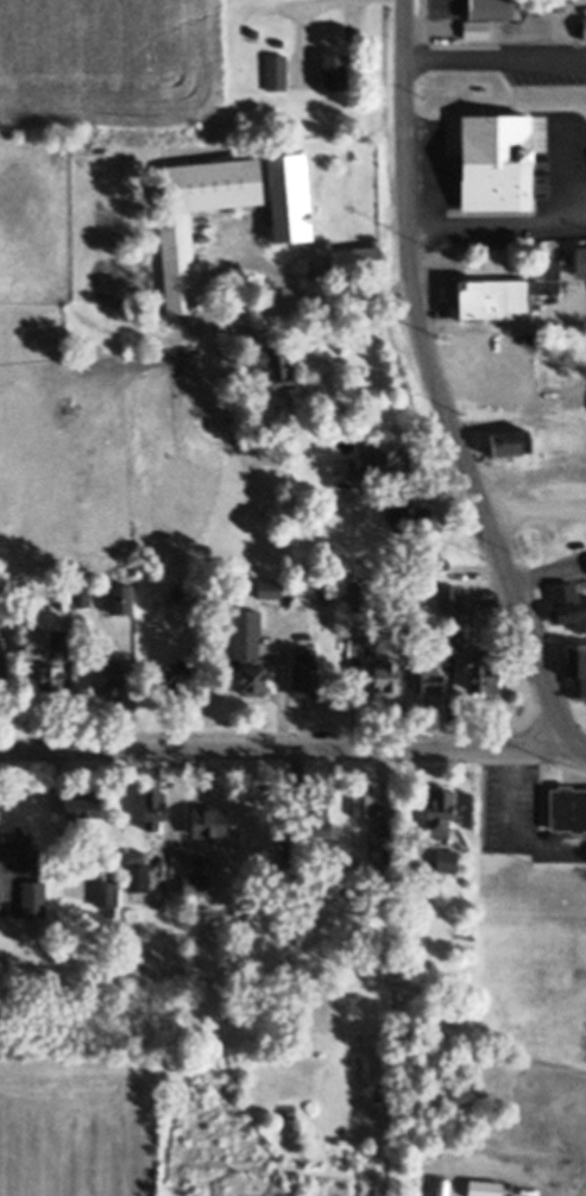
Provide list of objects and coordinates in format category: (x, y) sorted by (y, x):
building: (559, 5)
building: (491, 10)
building: (478, 27)
building: (584, 27)
building: (278, 43)
road: (496, 52)
building: (276, 73)
building: (329, 73)
building: (478, 87)
building: (494, 160)
building: (289, 197)
road: (498, 220)
building: (358, 260)
building: (172, 262)
building: (576, 262)
road: (335, 291)
building: (499, 294)
building: (245, 332)
building: (275, 366)
road: (440, 383)
building: (511, 397)
building: (573, 402)
building: (265, 422)
building: (288, 440)
building: (512, 442)
building: (563, 442)
building: (374, 464)
road: (535, 502)
building: (410, 518)
building: (430, 561)
building: (266, 590)
building: (179, 592)
building: (20, 593)
building: (358, 594)
building: (82, 598)
building: (119, 599)
building: (449, 600)
building: (567, 608)
building: (1, 623)
building: (448, 642)
building: (44, 646)
building: (245, 654)
building: (38, 663)
building: (576, 668)
building: (481, 672)
building: (172, 674)
building: (304, 674)
building: (428, 674)
building: (107, 680)
building: (382, 680)
road: (276, 688)
road: (282, 750)
road: (575, 750)
building: (359, 800)
building: (78, 807)
building: (155, 810)
building: (565, 810)
building: (439, 813)
building: (311, 819)
building: (204, 822)
road: (513, 829)
building: (373, 841)
building: (572, 842)
building: (20, 848)
building: (447, 861)
building: (138, 870)
building: (295, 877)
building: (323, 881)
building: (196, 883)
building: (103, 892)
building: (307, 895)
building: (34, 898)
building: (237, 930)
building: (235, 955)
building: (480, 1188)

